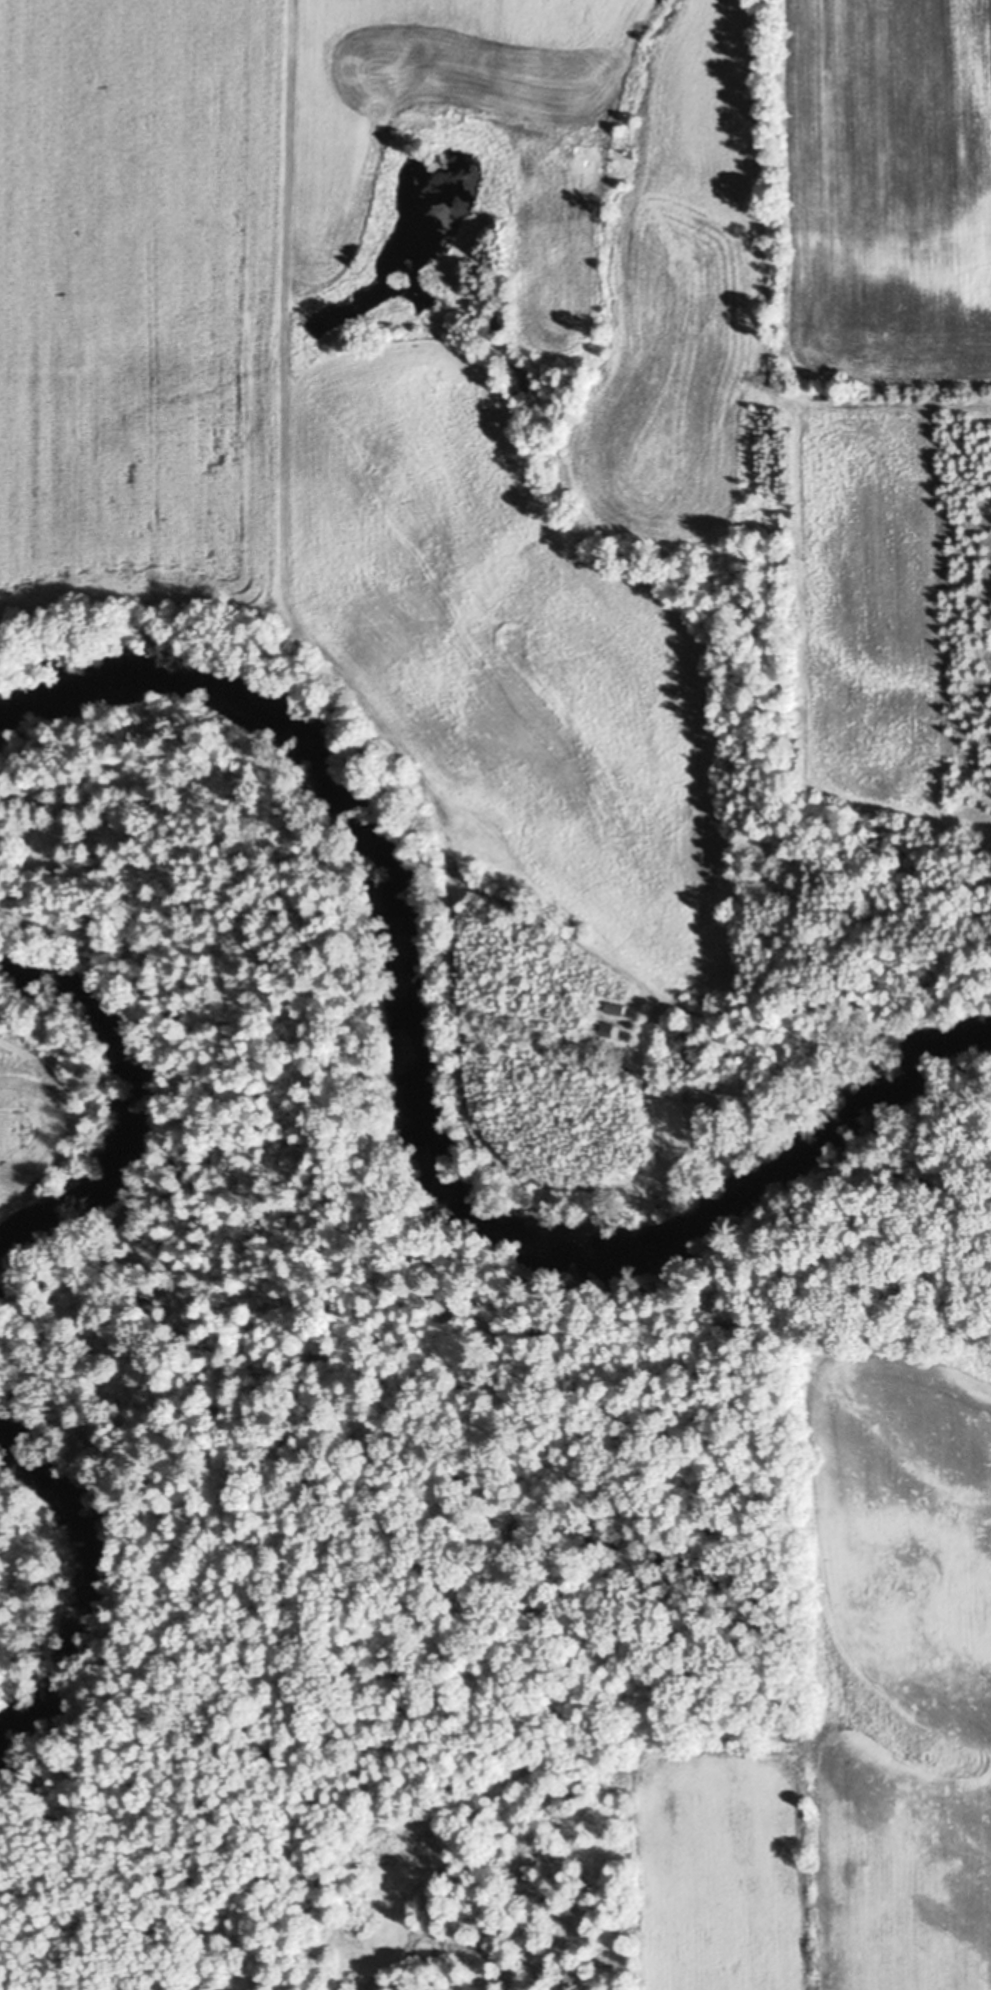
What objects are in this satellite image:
building: (610, 1031)
river: (424, 1102)
river: (130, 1103)
river: (82, 1587)

